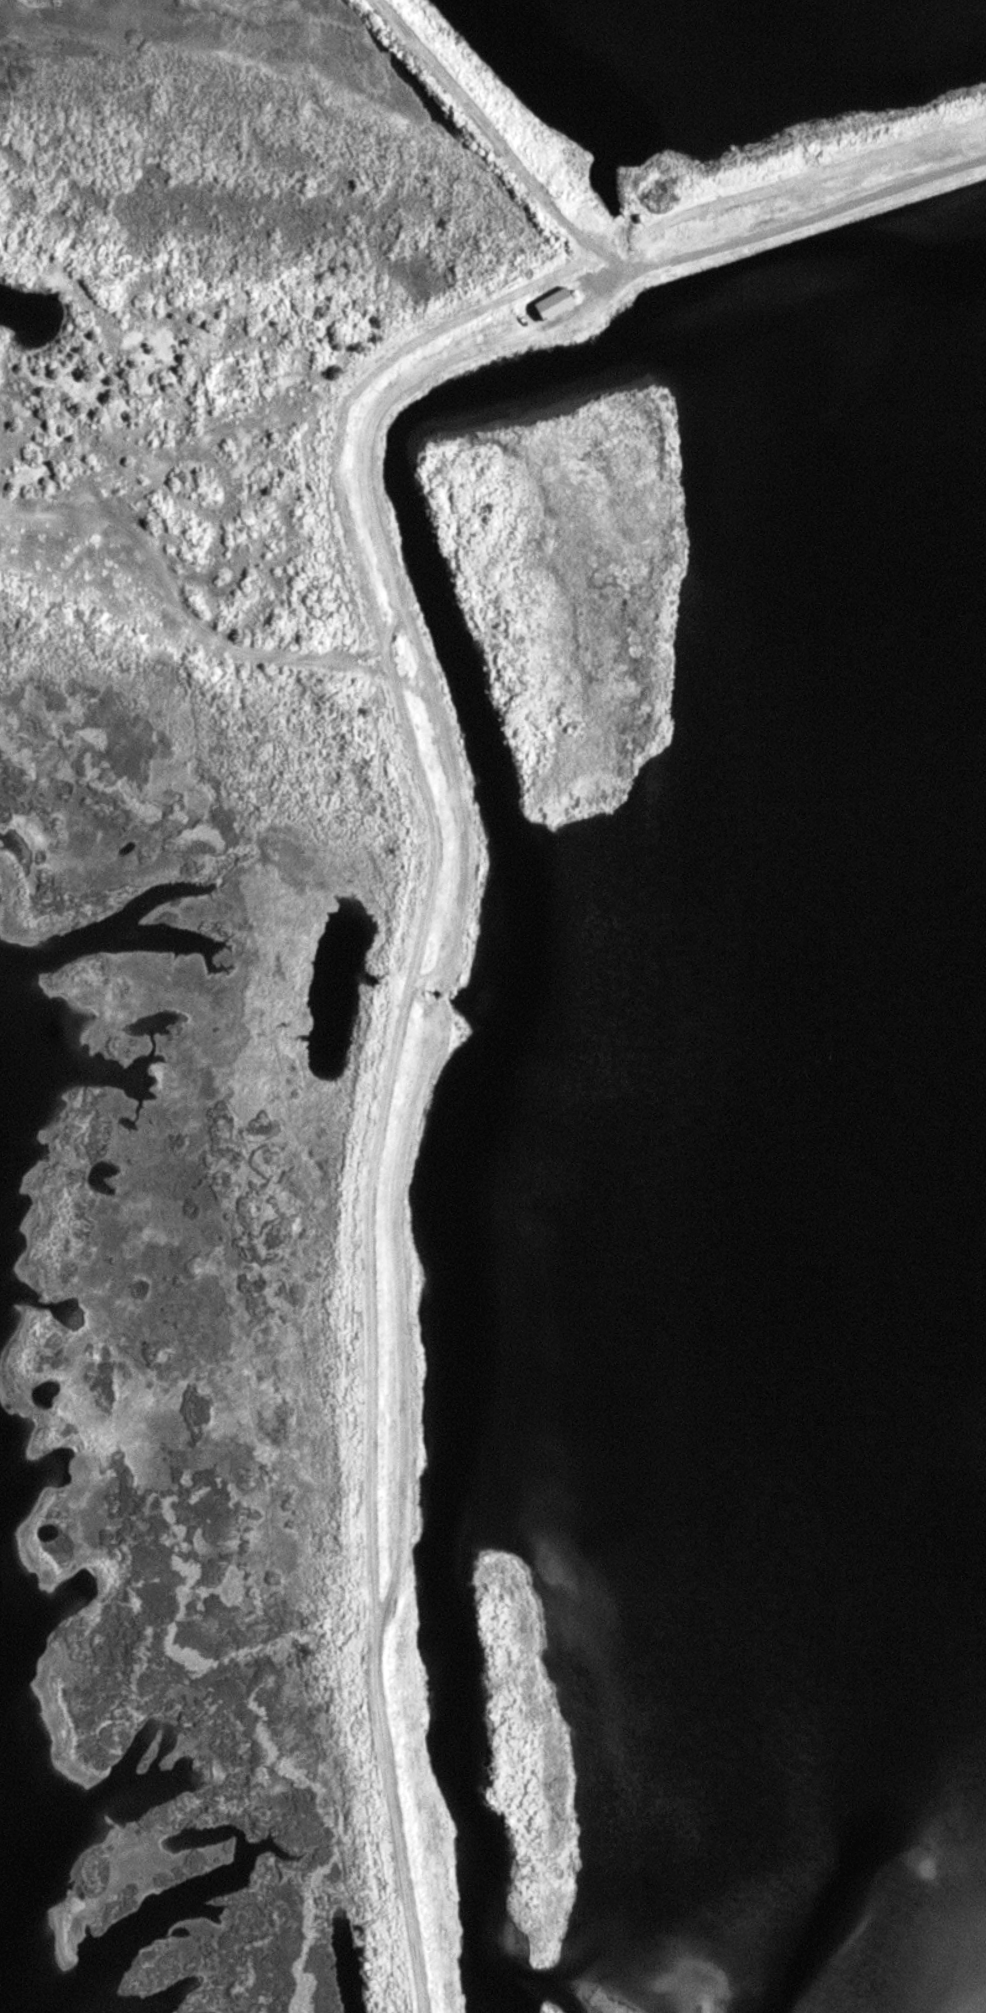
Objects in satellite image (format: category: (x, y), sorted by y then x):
road: (500, 142)
building: (575, 293)
building: (556, 304)
building: (522, 315)
road: (179, 604)
road: (434, 857)

